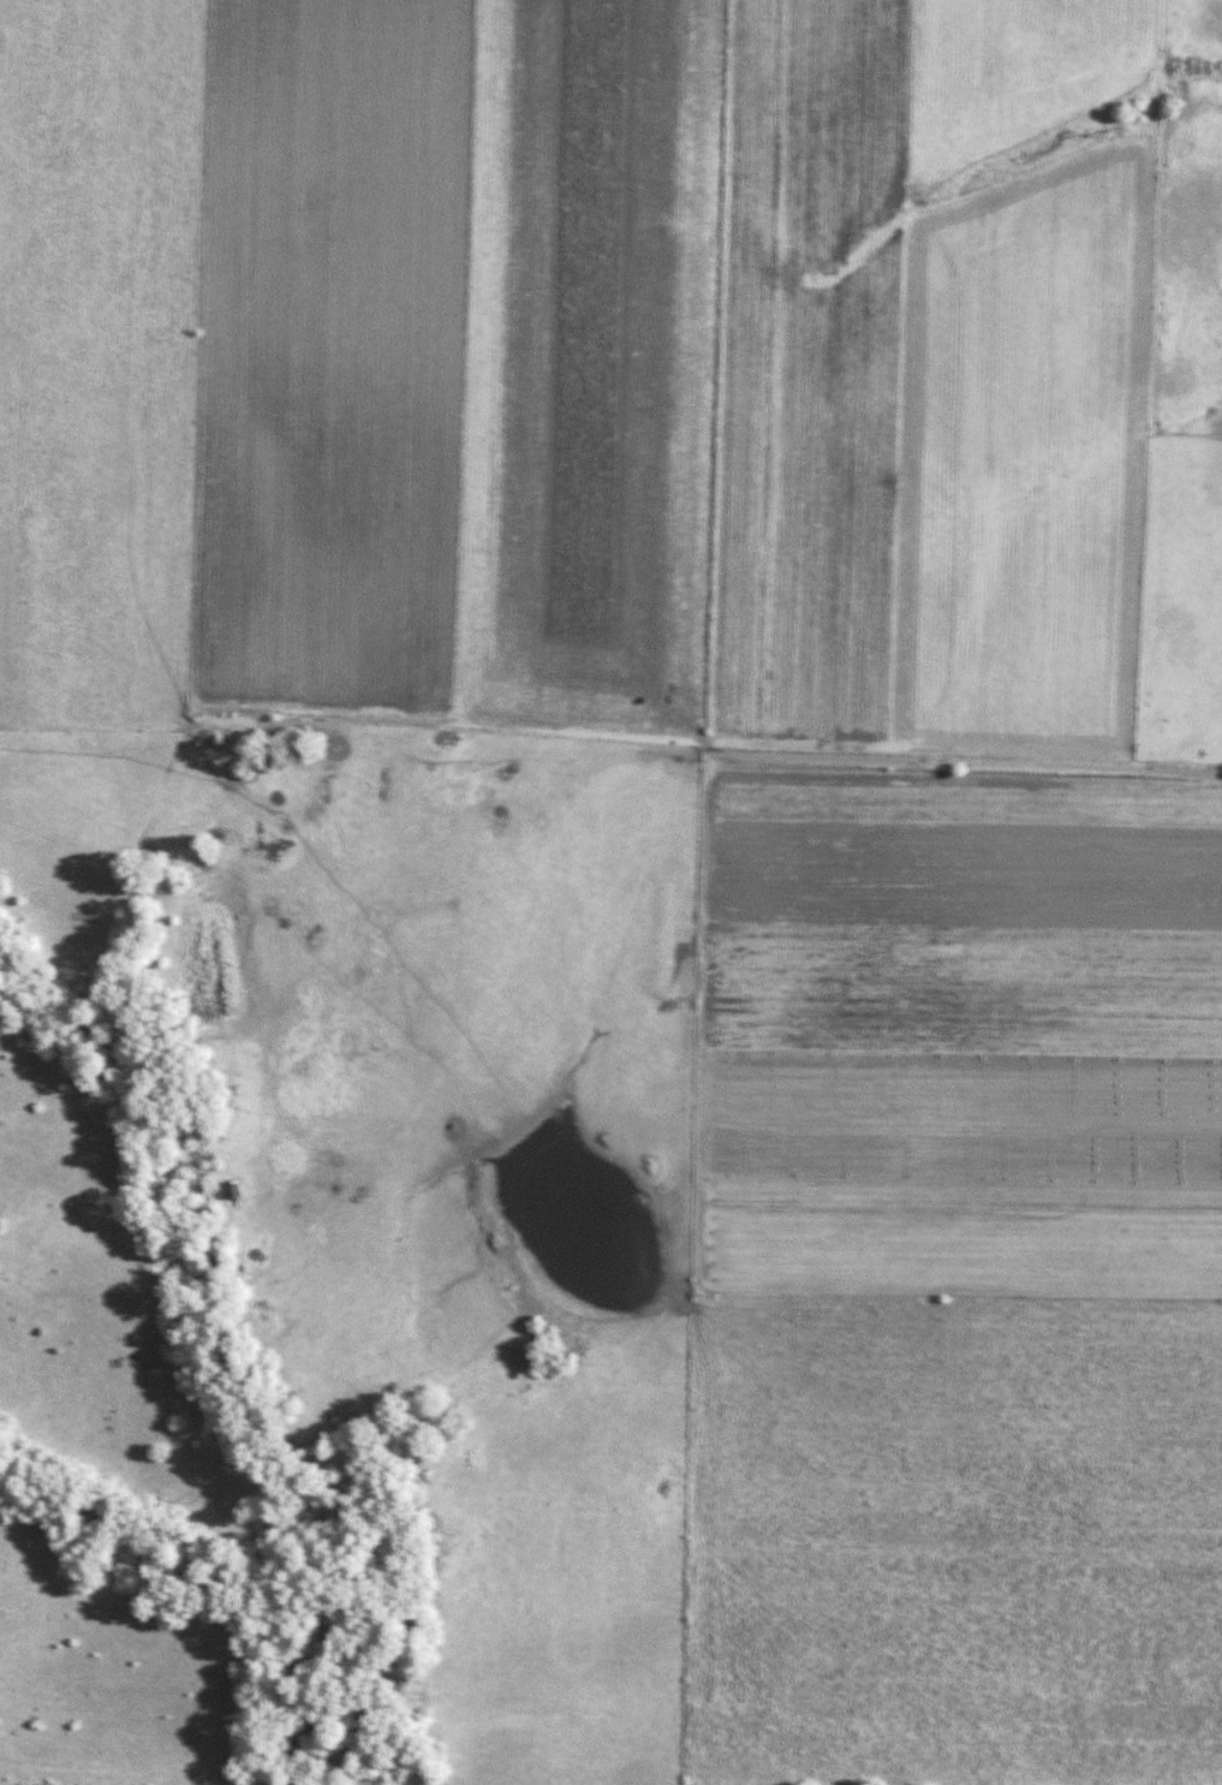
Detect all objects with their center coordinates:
road: (965, 763)
building: (243, 1191)

